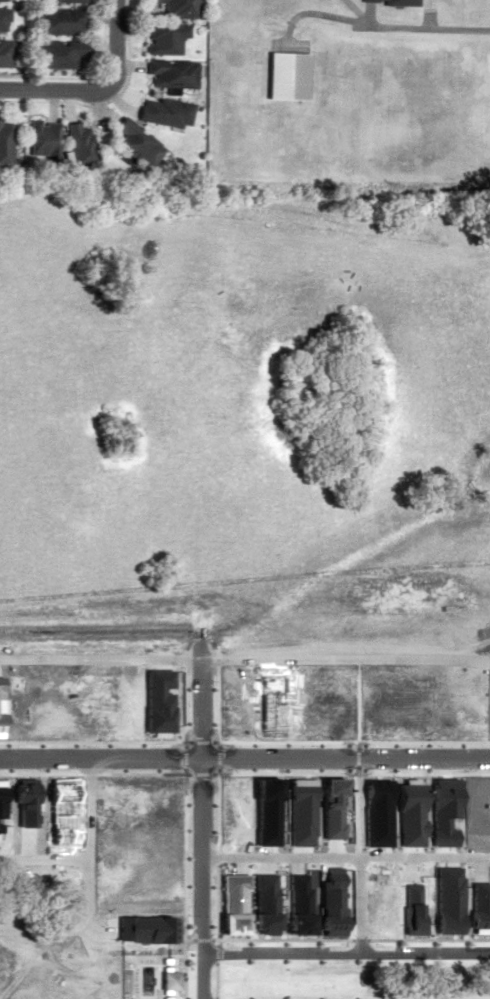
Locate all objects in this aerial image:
building: (2, 0)
building: (57, 0)
building: (394, 2)
building: (177, 8)
building: (3, 19)
building: (58, 20)
building: (162, 36)
building: (6, 51)
building: (54, 54)
building: (170, 70)
building: (282, 74)
road: (95, 85)
building: (162, 110)
building: (43, 137)
building: (78, 141)
building: (135, 141)
building: (5, 143)
road: (453, 995)

